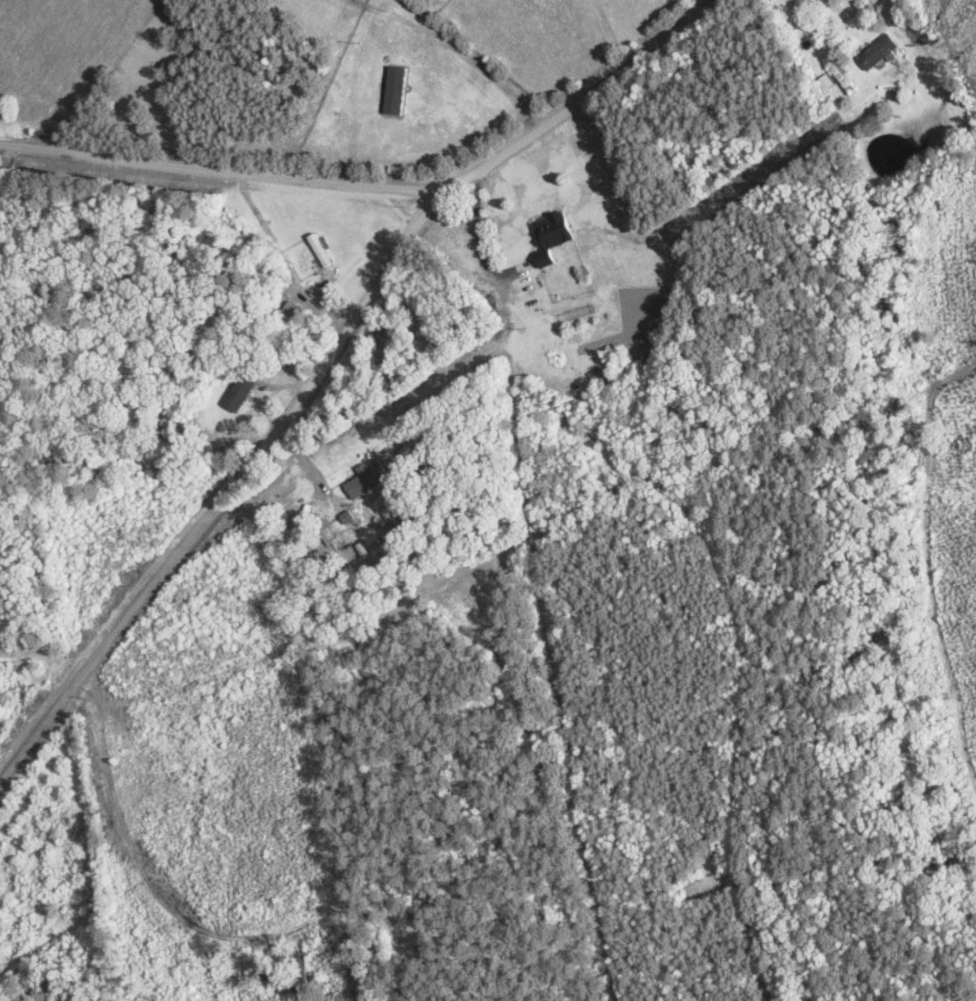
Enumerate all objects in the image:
building: (880, 52)
road: (403, 178)
building: (550, 236)
building: (319, 249)
building: (294, 313)
building: (240, 392)
building: (368, 480)
road: (234, 500)

